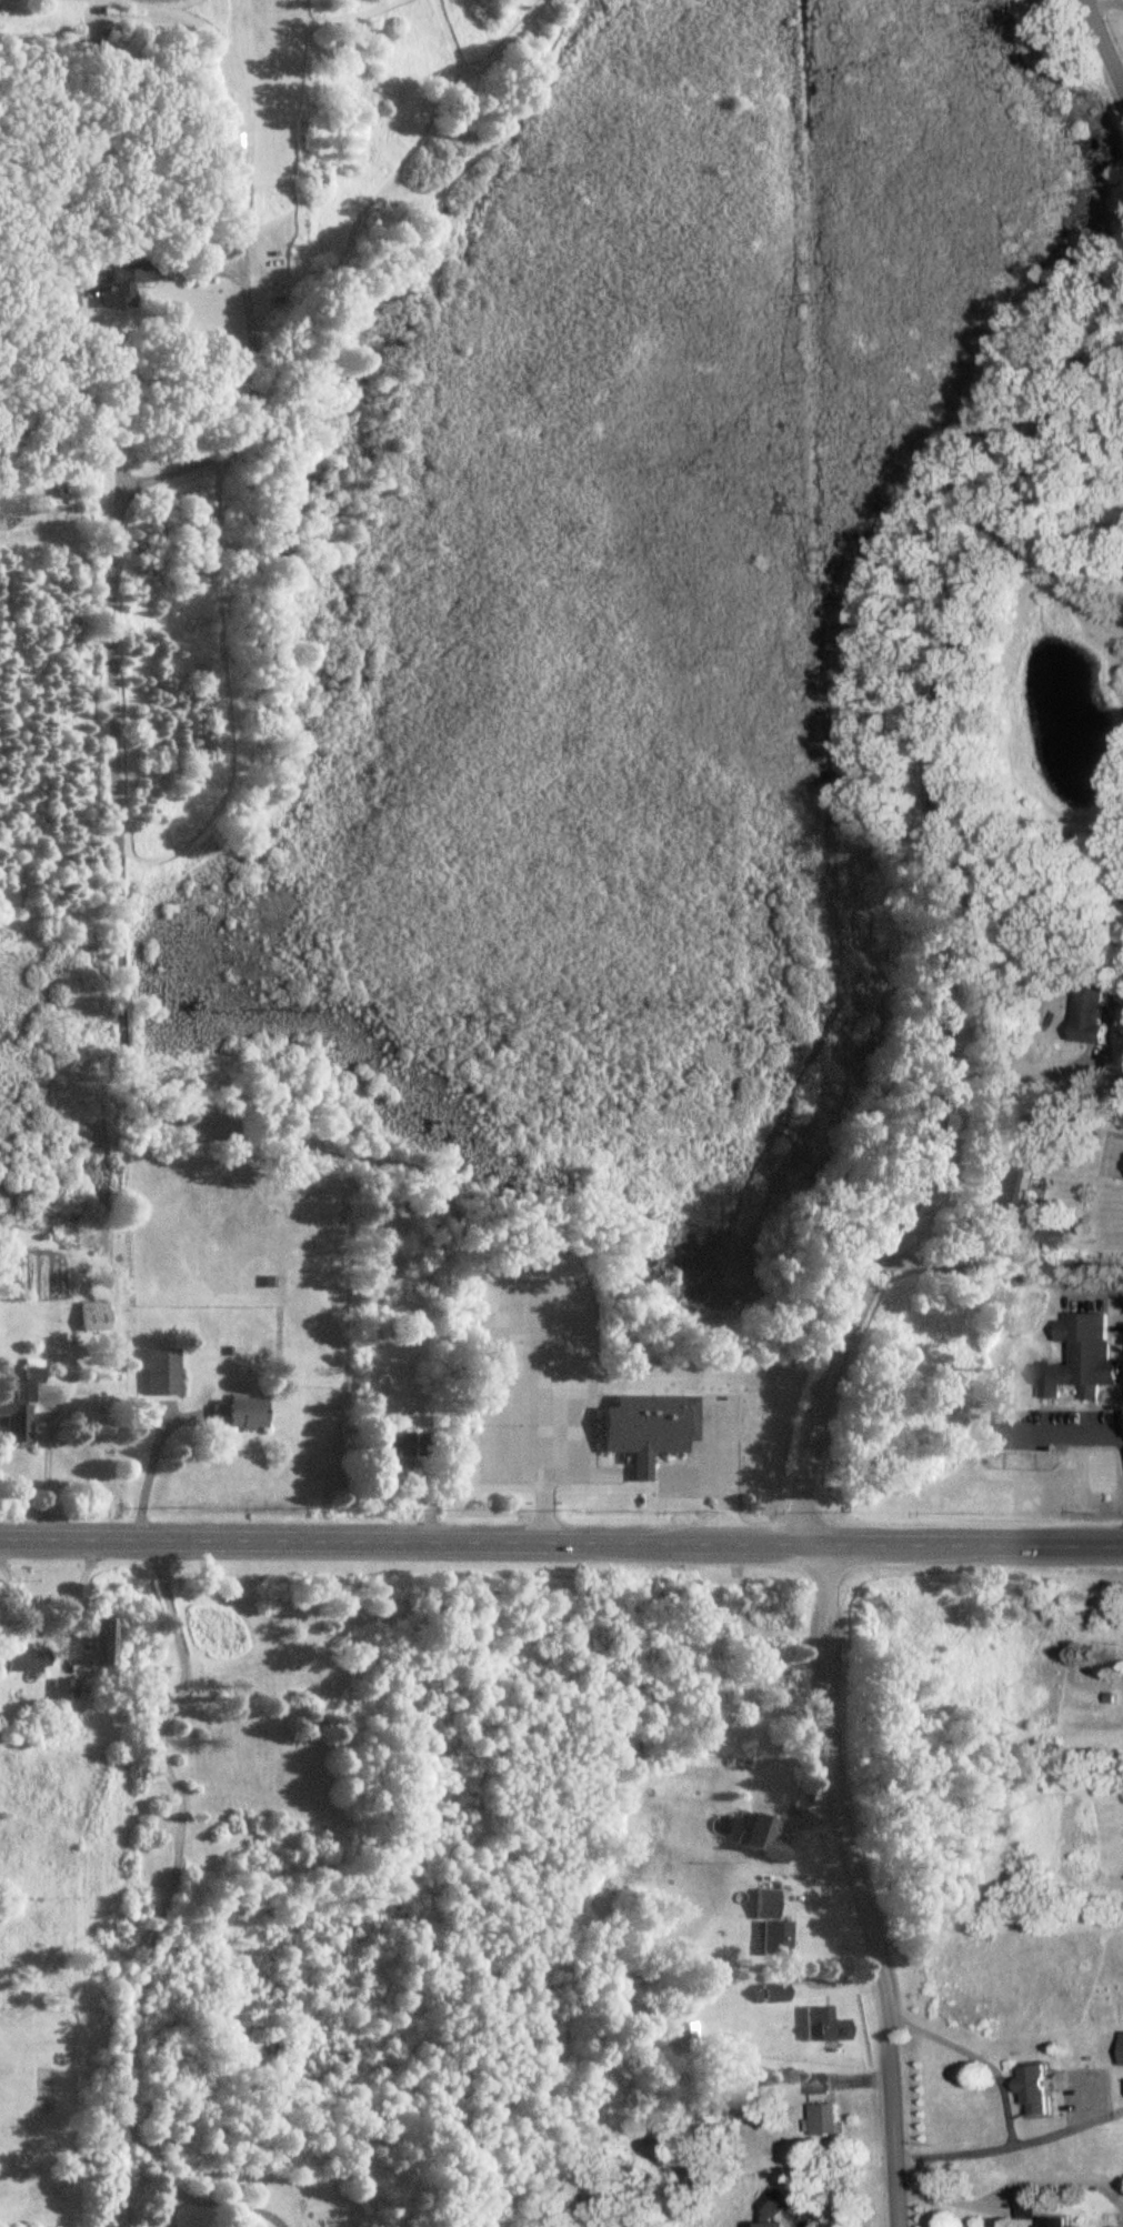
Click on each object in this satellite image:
road: (1103, 6)
road: (1101, 48)
building: (124, 287)
road: (79, 435)
road: (1050, 562)
road: (119, 954)
building: (1094, 1014)
road: (1011, 1082)
building: (1010, 1195)
road: (879, 1240)
road: (1001, 1273)
building: (94, 1317)
building: (1086, 1353)
building: (163, 1373)
building: (22, 1405)
building: (240, 1416)
building: (650, 1430)
road: (1082, 1435)
building: (411, 1445)
road: (46, 1463)
road: (147, 1464)
road: (684, 1471)
road: (584, 1472)
road: (639, 1472)
road: (720, 1472)
road: (561, 1539)
road: (49, 1624)
building: (106, 1643)
building: (27, 1661)
building: (66, 1689)
building: (763, 1839)
road: (172, 1865)
building: (773, 1926)
building: (775, 1993)
building: (828, 2030)
building: (682, 2035)
building: (1121, 2048)
building: (823, 2085)
building: (1040, 2089)
road: (1007, 2094)
building: (828, 2119)
building: (1031, 2199)
road: (225, 2205)
road: (168, 2207)
building: (788, 2207)
building: (1062, 2223)

